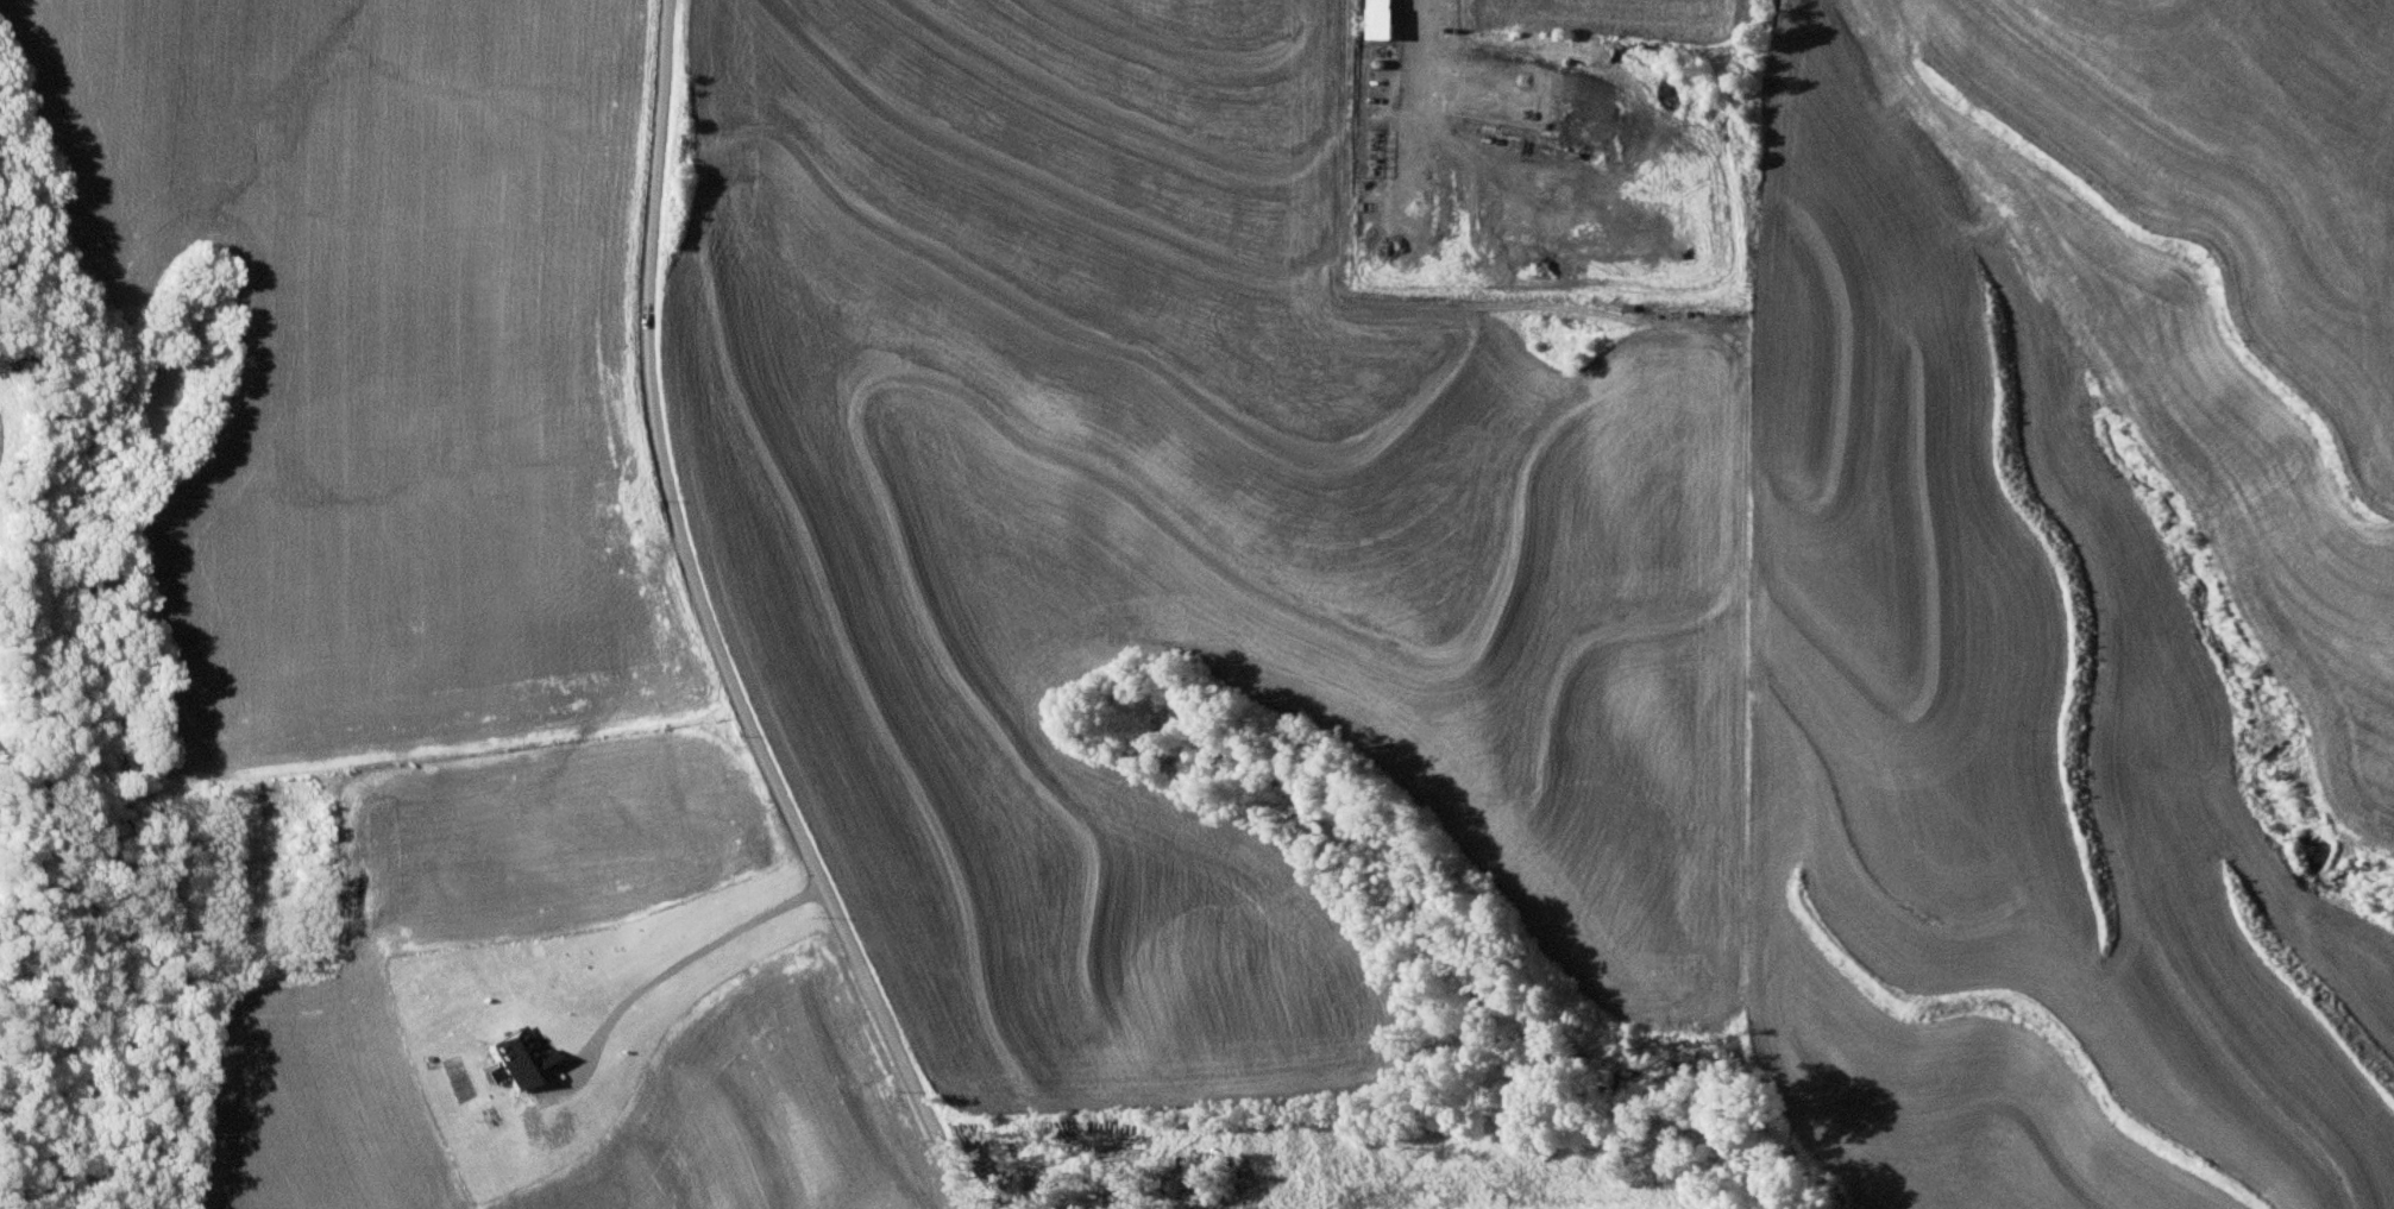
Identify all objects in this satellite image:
building: (1383, 19)
building: (1507, 95)
road: (660, 127)
road: (760, 745)
building: (527, 1058)

